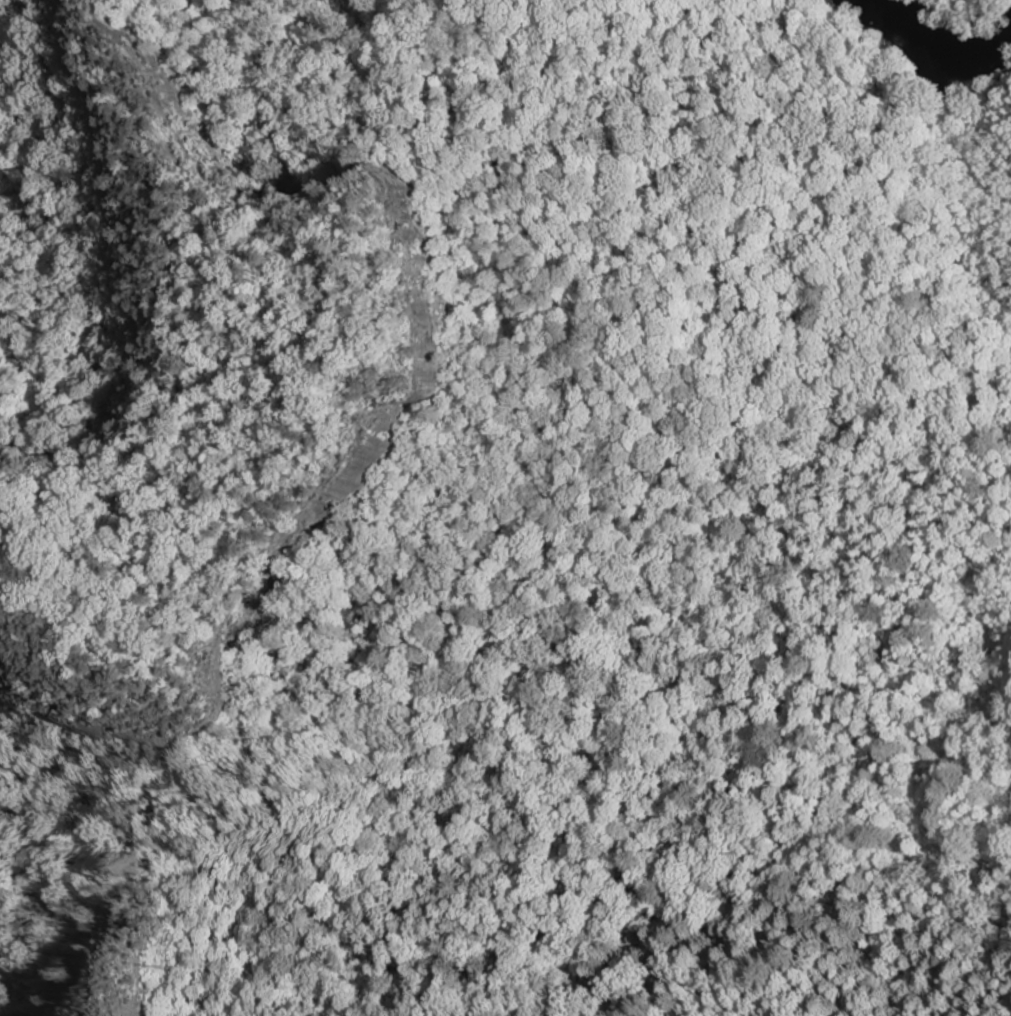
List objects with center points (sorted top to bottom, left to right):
river: (945, 46)
road: (125, 1002)

